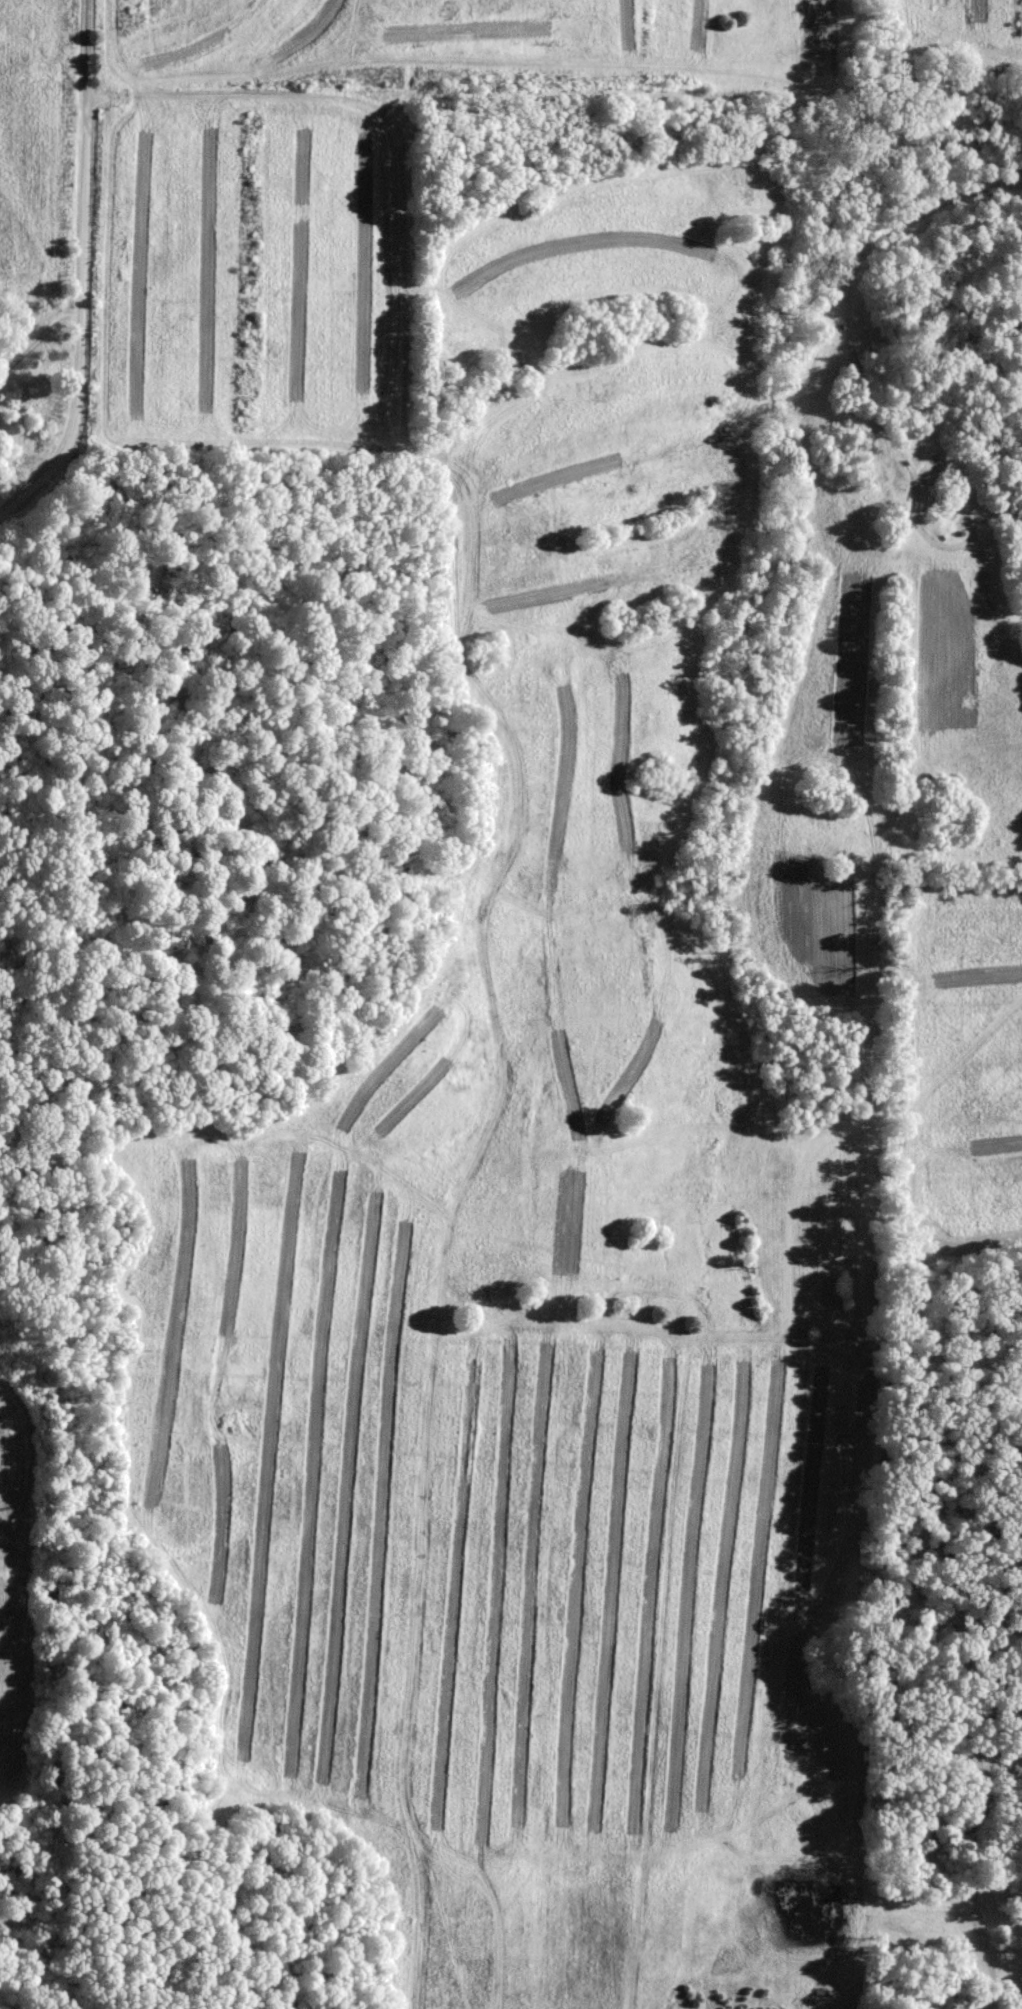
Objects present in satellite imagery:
road: (92, 288)

